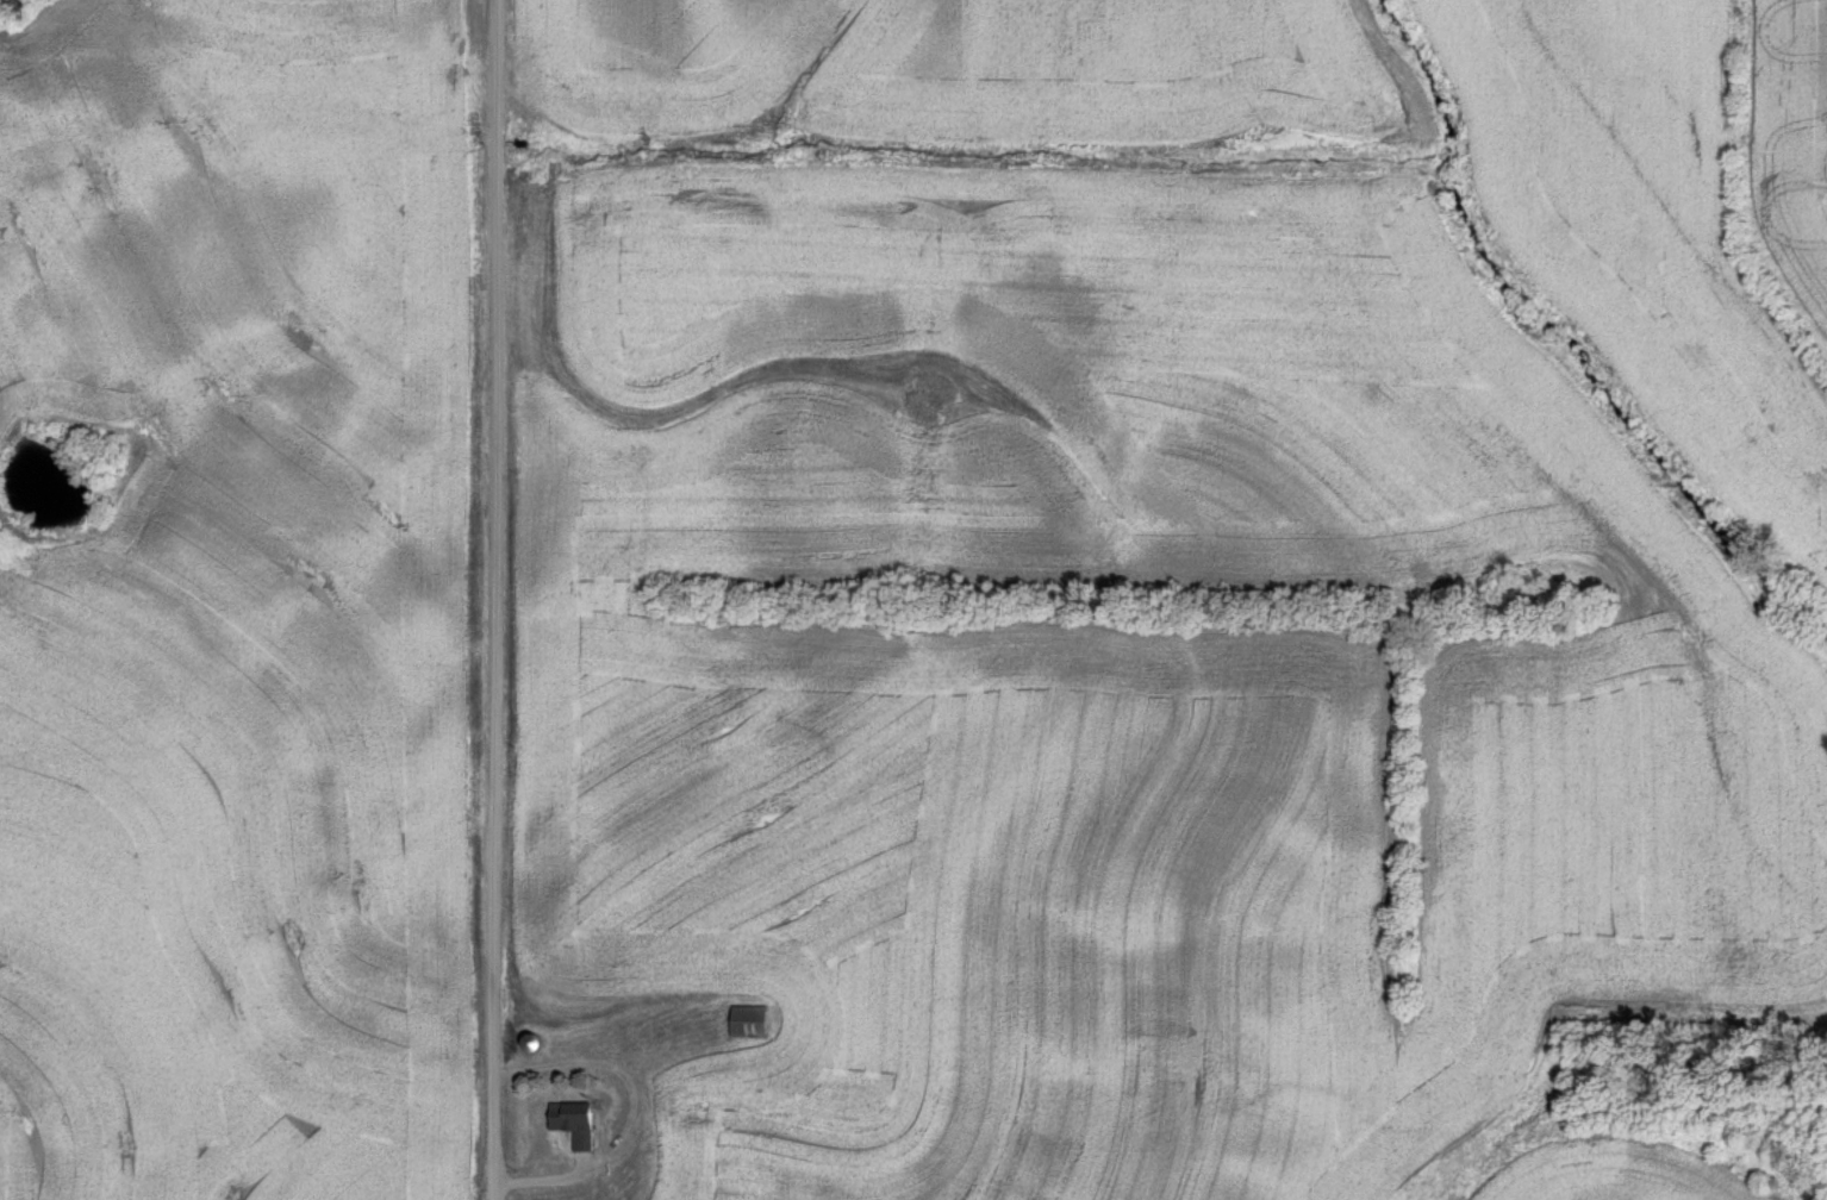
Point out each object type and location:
road: (490, 600)
building: (743, 1021)
building: (570, 1123)

